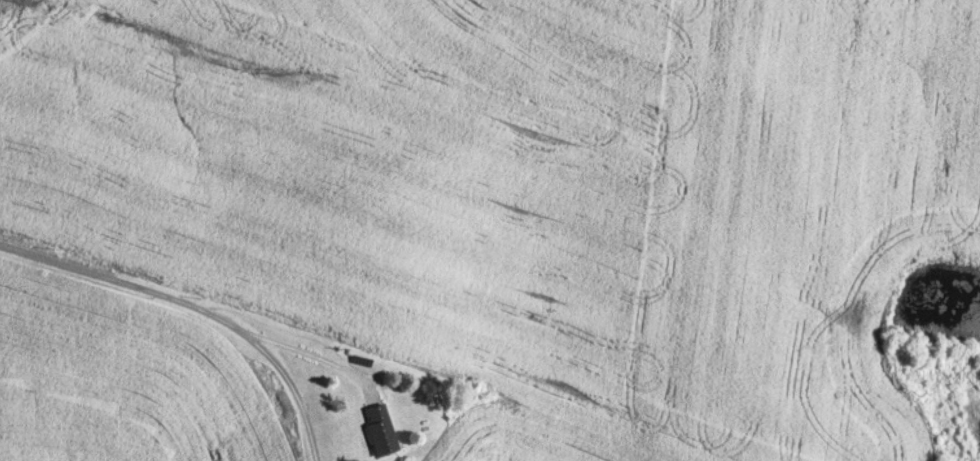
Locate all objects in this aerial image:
road: (198, 303)
building: (385, 429)

